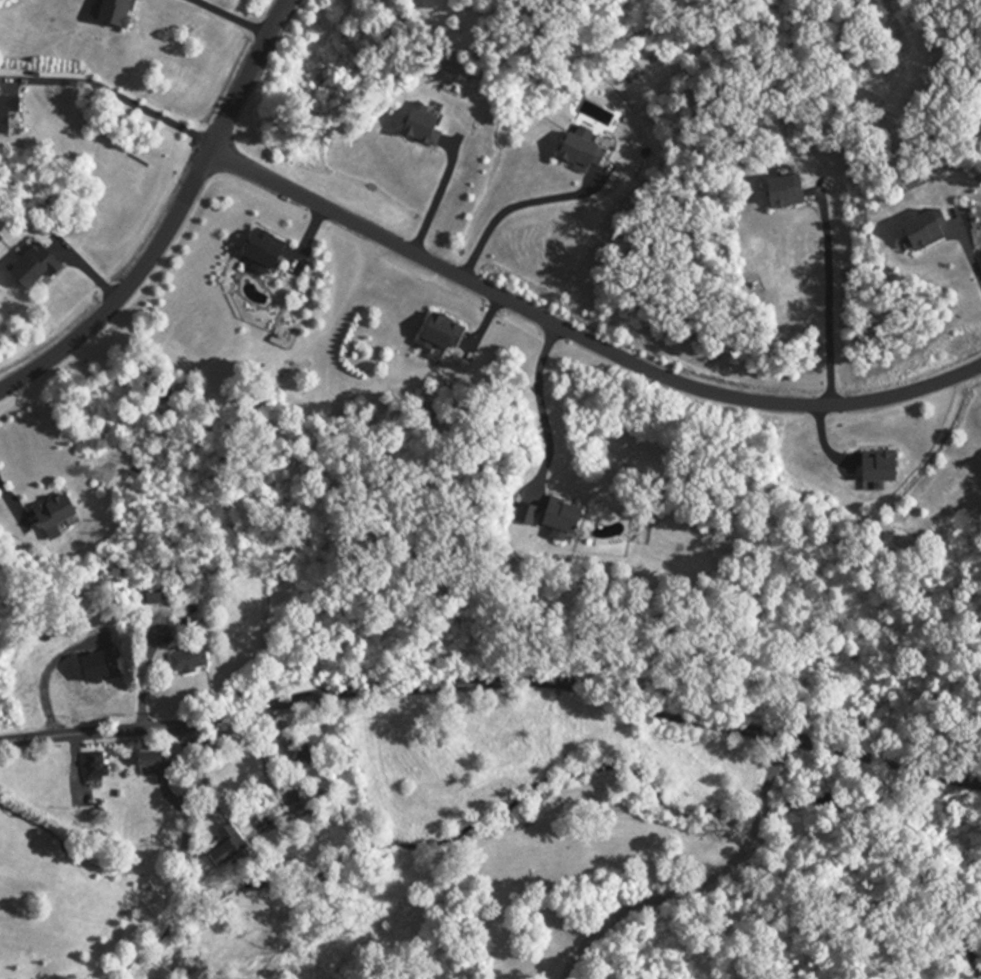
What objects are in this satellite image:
building: (115, 14)
road: (229, 18)
road: (122, 99)
building: (7, 111)
building: (421, 128)
building: (577, 153)
building: (784, 192)
road: (437, 198)
road: (514, 205)
road: (174, 220)
building: (922, 231)
building: (262, 249)
road: (967, 249)
building: (33, 267)
road: (829, 297)
building: (441, 335)
road: (582, 337)
road: (542, 414)
building: (878, 467)
road: (4, 498)
building: (53, 513)
building: (561, 517)
building: (155, 593)
building: (187, 661)
building: (92, 669)
road: (46, 679)
road: (495, 683)
building: (304, 756)
building: (147, 761)
road: (265, 763)
building: (94, 768)
road: (776, 769)
road: (762, 810)
building: (225, 847)
road: (176, 853)
road: (666, 901)

